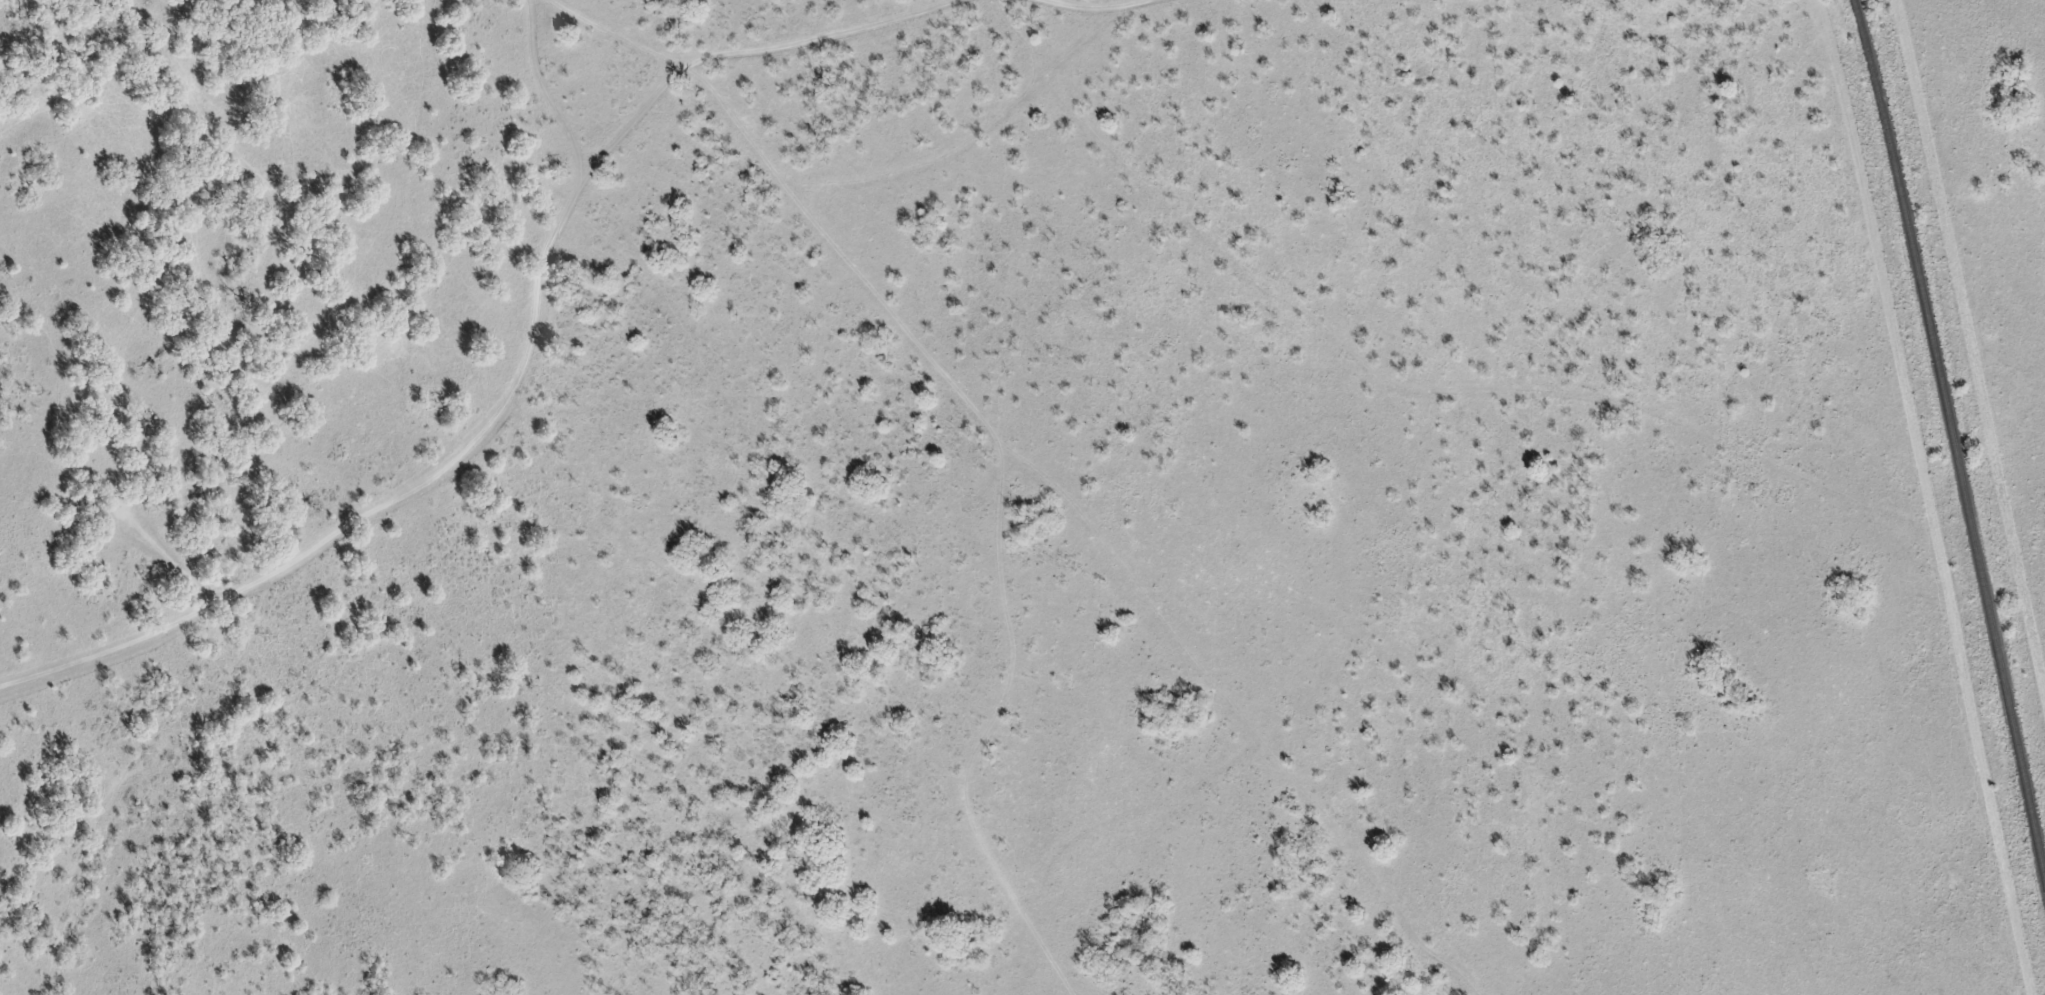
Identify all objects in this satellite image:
railway: (1952, 440)

